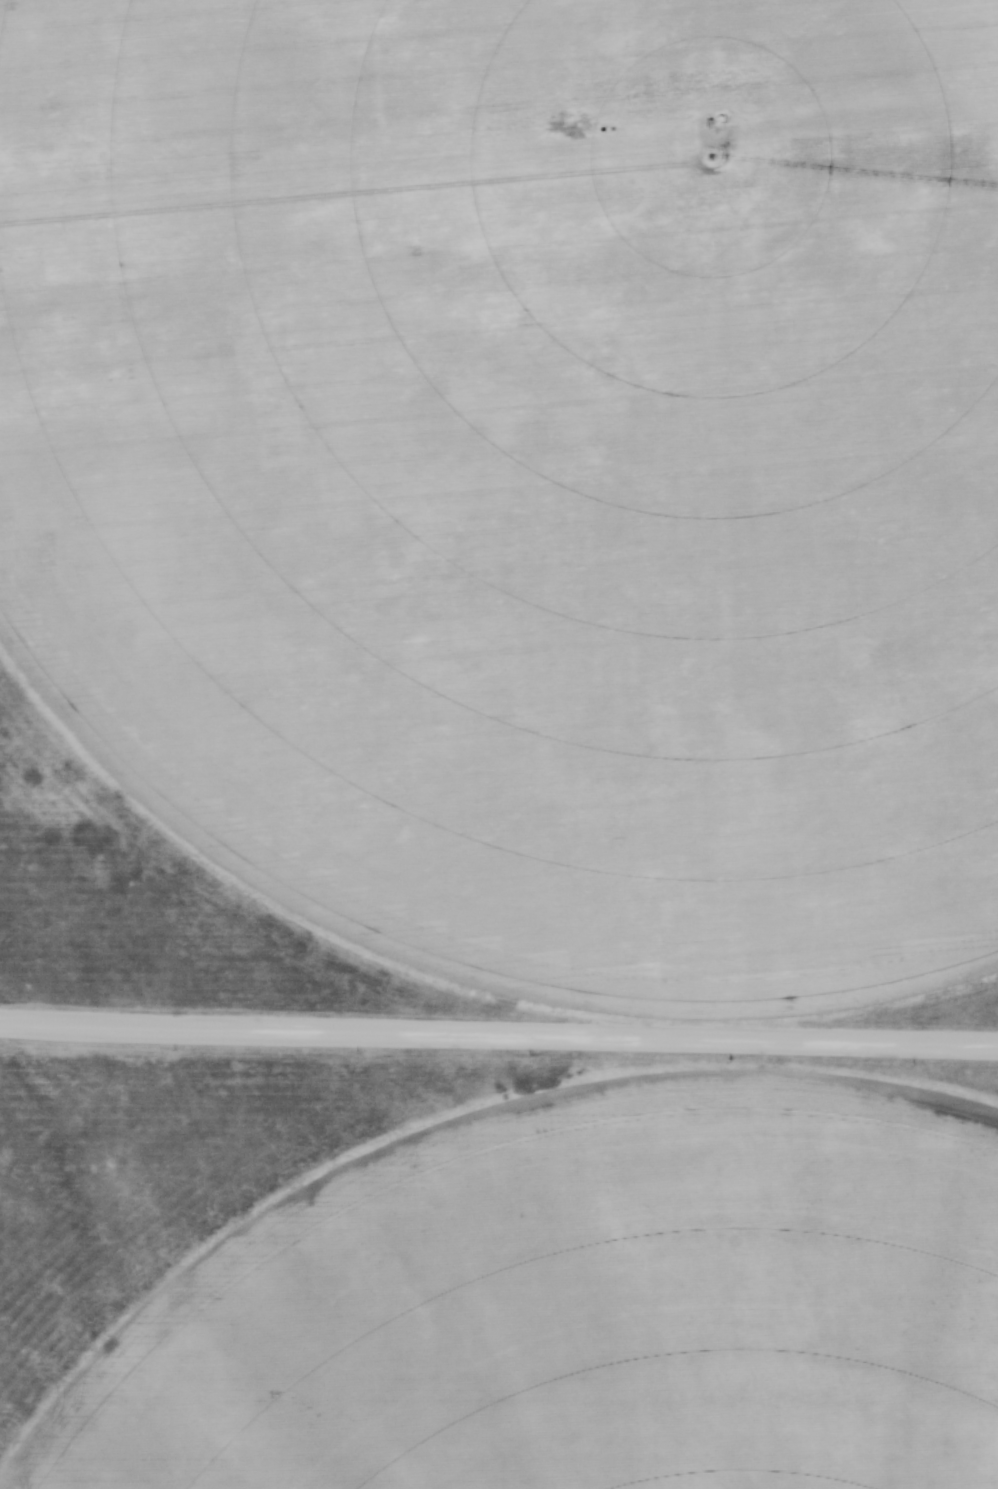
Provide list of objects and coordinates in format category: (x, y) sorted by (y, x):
crop: (525, 472)
road: (498, 1037)
crop: (579, 1305)

